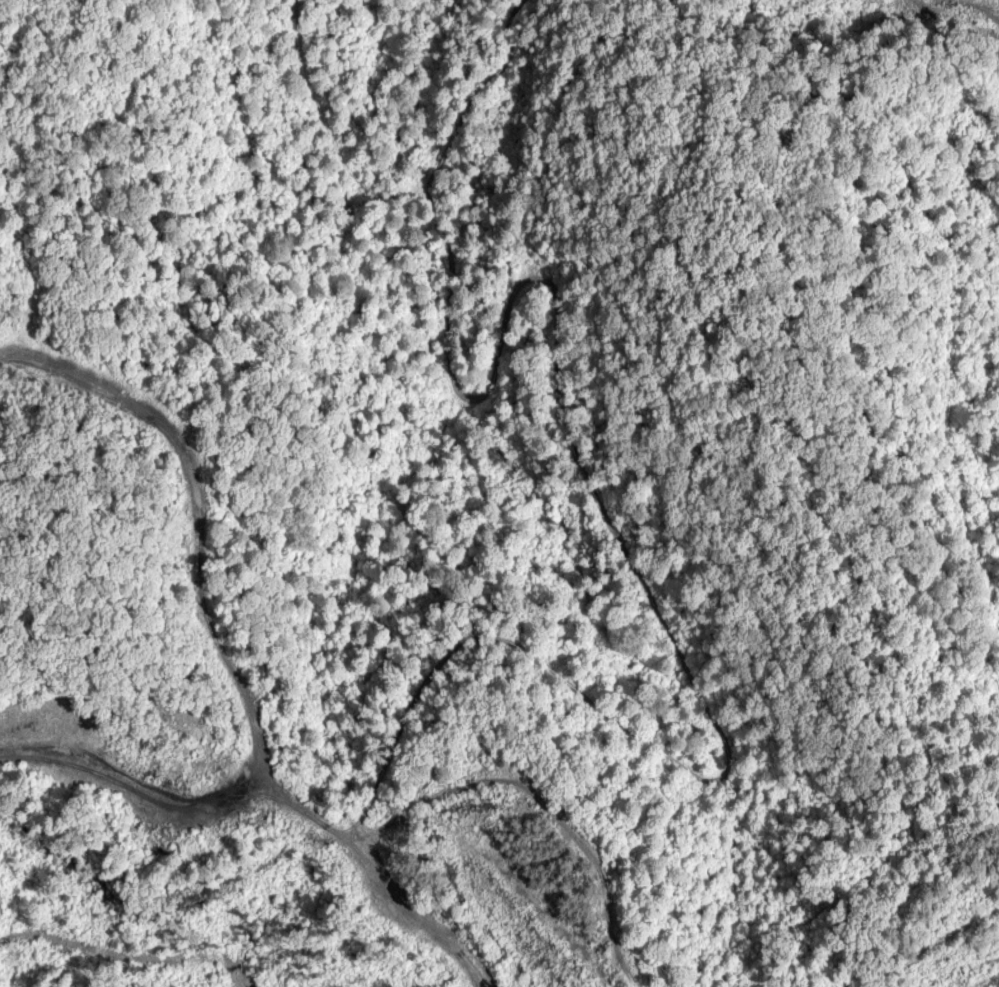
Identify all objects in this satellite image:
road: (280, 797)

